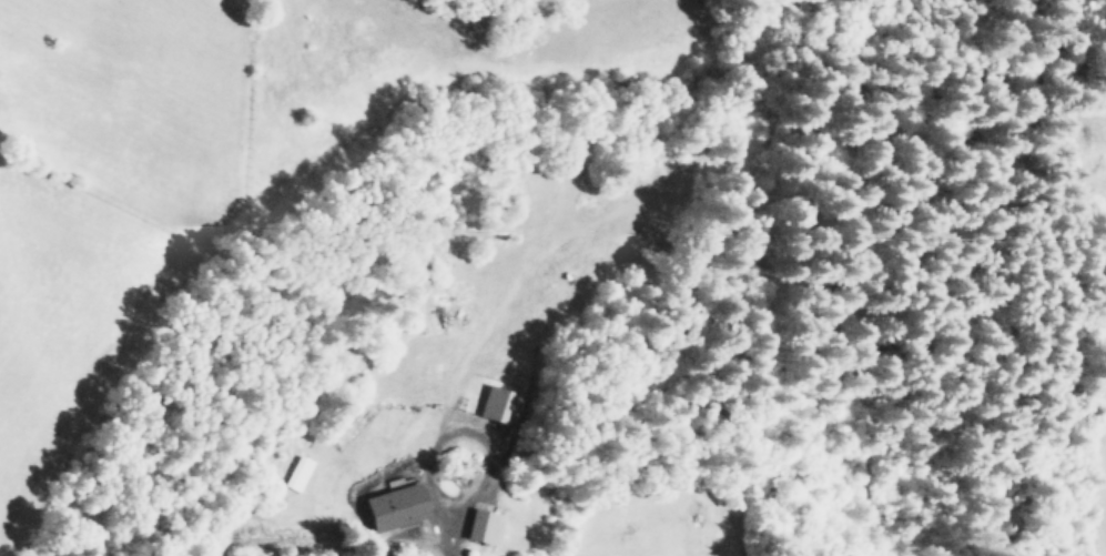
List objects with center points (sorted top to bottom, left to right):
building: (497, 402)
building: (296, 473)
building: (394, 506)
building: (481, 526)

